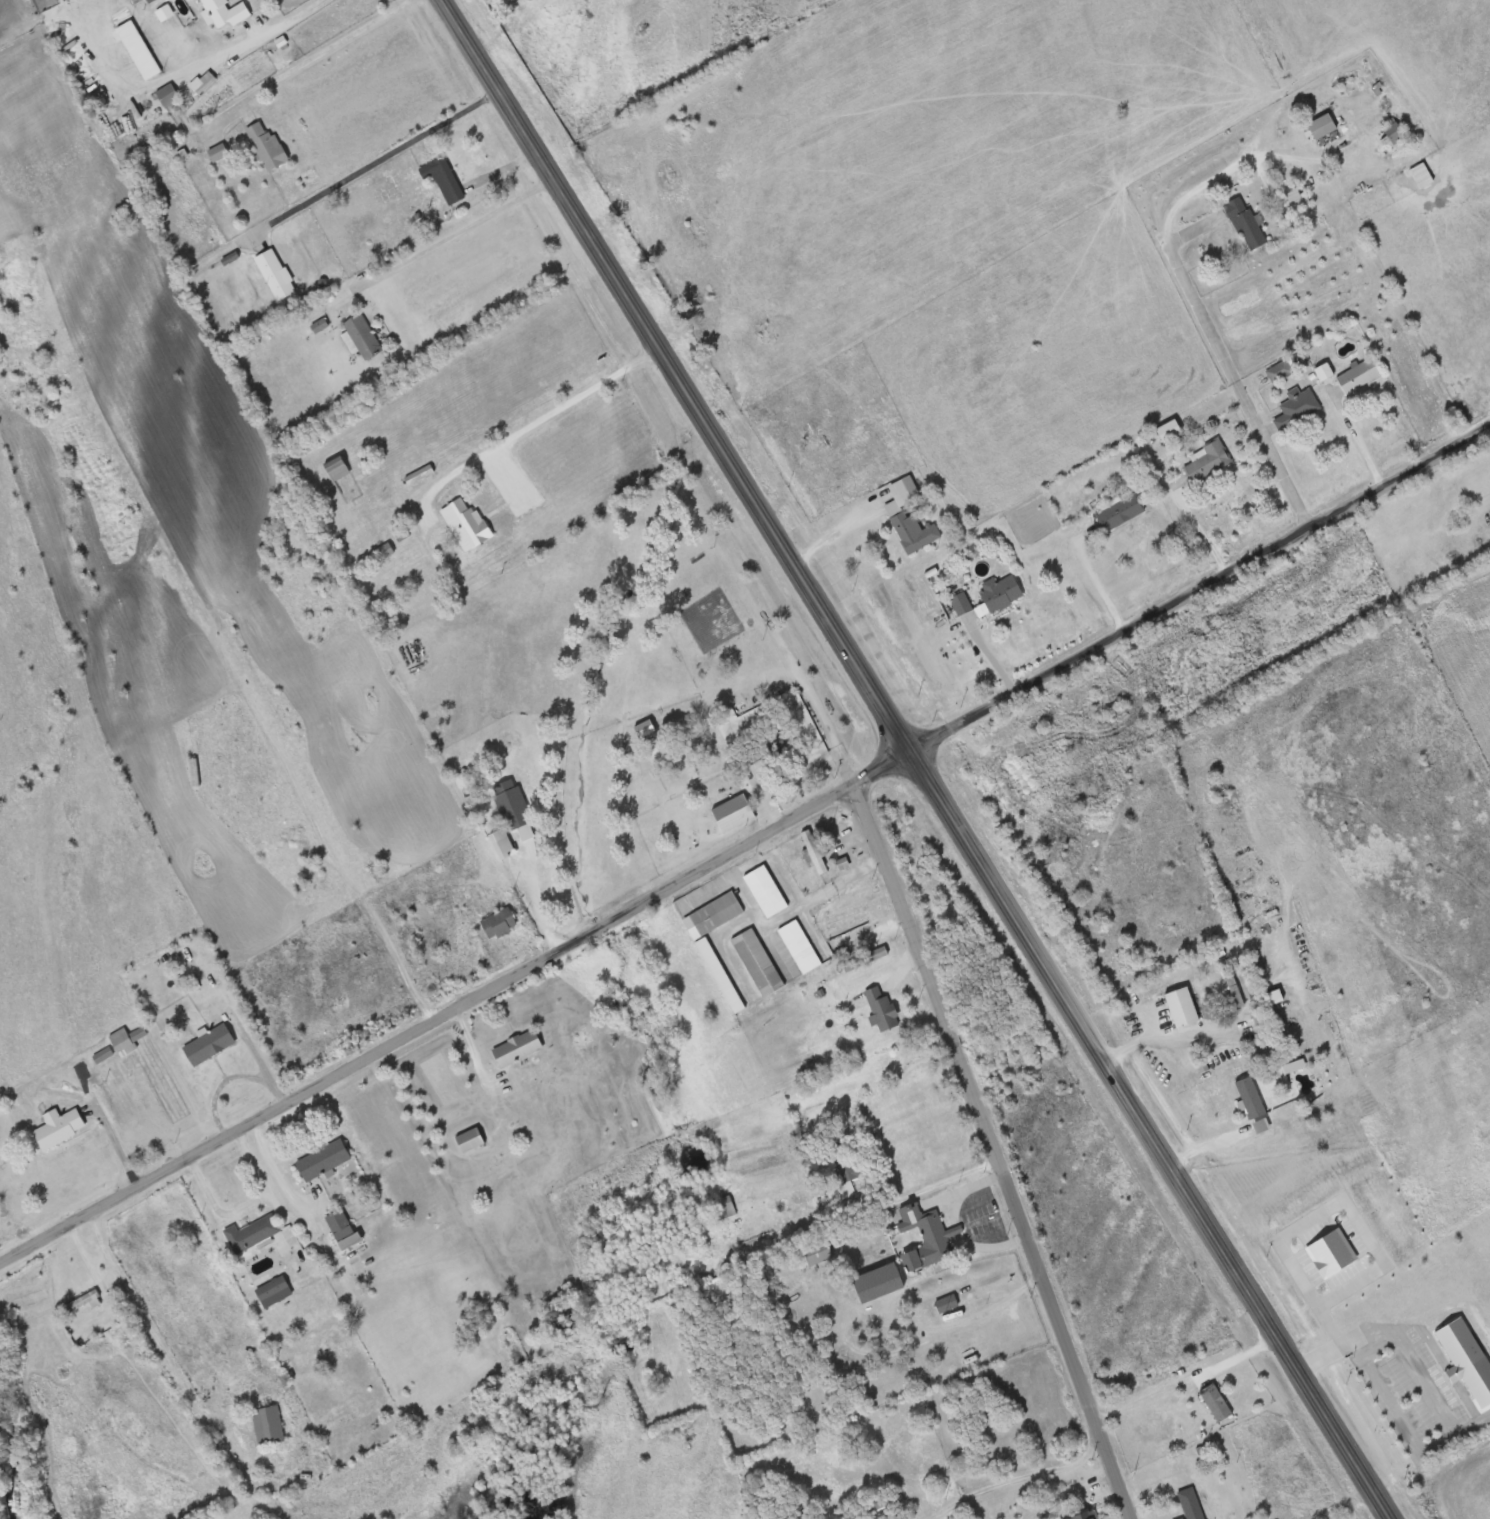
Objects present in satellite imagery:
building: (540, 4)
building: (227, 13)
road: (291, 19)
building: (1325, 127)
building: (1397, 134)
building: (269, 147)
building: (220, 153)
building: (448, 182)
building: (1248, 224)
building: (277, 275)
building: (363, 337)
building: (1281, 372)
building: (1326, 372)
building: (1361, 376)
road: (1237, 384)
building: (1299, 408)
building: (1172, 432)
building: (1209, 461)
building: (339, 469)
building: (1123, 513)
building: (908, 516)
building: (470, 523)
building: (1003, 593)
building: (963, 605)
building: (659, 754)
road: (910, 766)
building: (513, 803)
building: (741, 810)
building: (506, 847)
building: (817, 852)
road: (749, 857)
building: (768, 890)
building: (719, 913)
building: (844, 917)
building: (501, 922)
building: (802, 946)
building: (868, 958)
building: (760, 961)
building: (1235, 985)
building: (884, 1010)
building: (127, 1040)
building: (211, 1044)
building: (519, 1048)
building: (104, 1056)
building: (1254, 1097)
building: (61, 1127)
building: (472, 1140)
road: (997, 1158)
building: (326, 1160)
building: (844, 1161)
road: (927, 1190)
building: (723, 1208)
building: (344, 1228)
building: (254, 1233)
building: (927, 1237)
building: (819, 1253)
building: (881, 1282)
building: (275, 1291)
building: (85, 1302)
building: (949, 1303)
building: (1218, 1402)
building: (270, 1425)
building: (1192, 1504)
building: (887, 1506)
building: (1089, 1515)

